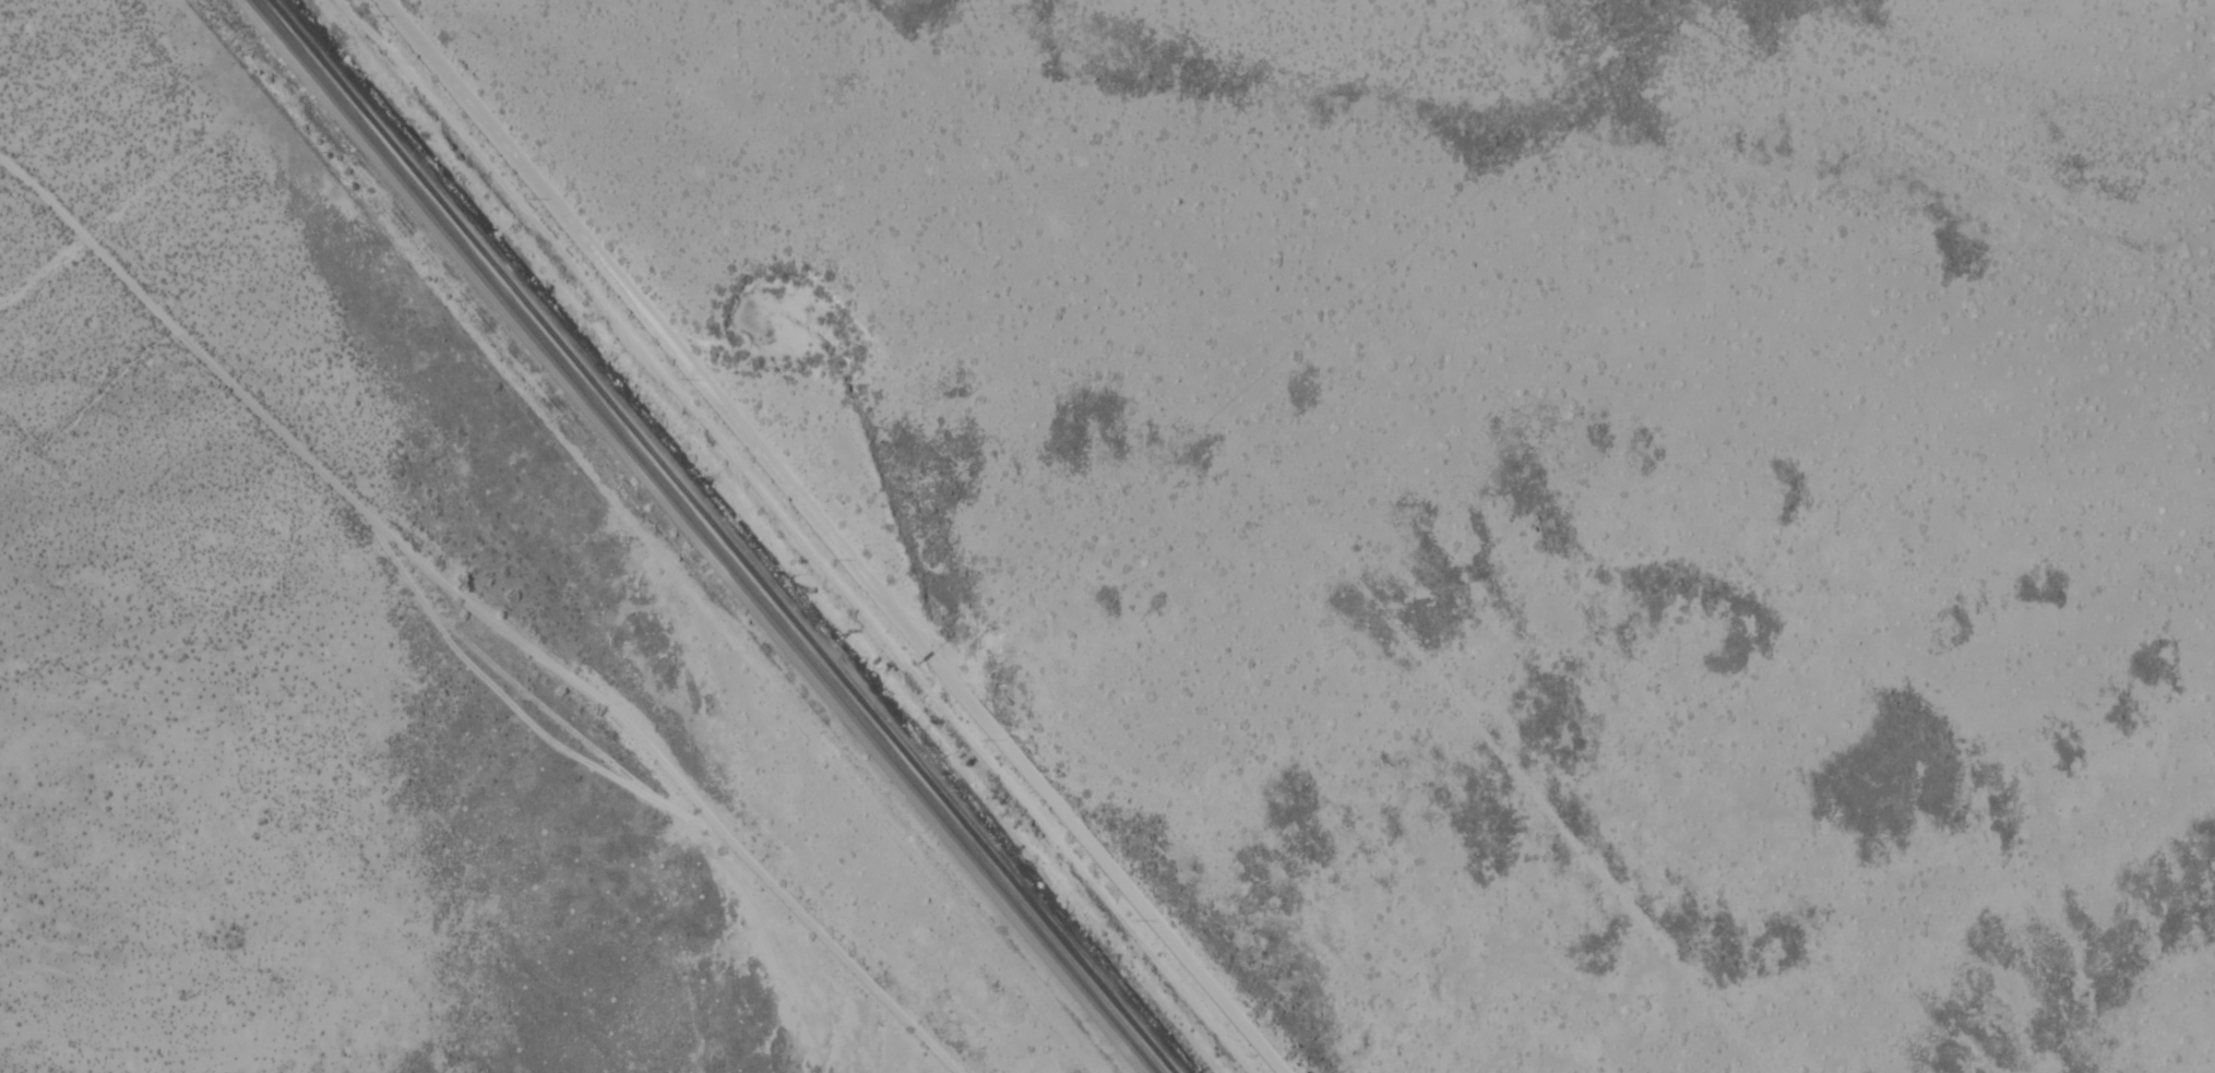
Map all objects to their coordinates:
railway: (704, 536)
railway: (722, 536)
road: (822, 538)
road: (500, 627)

